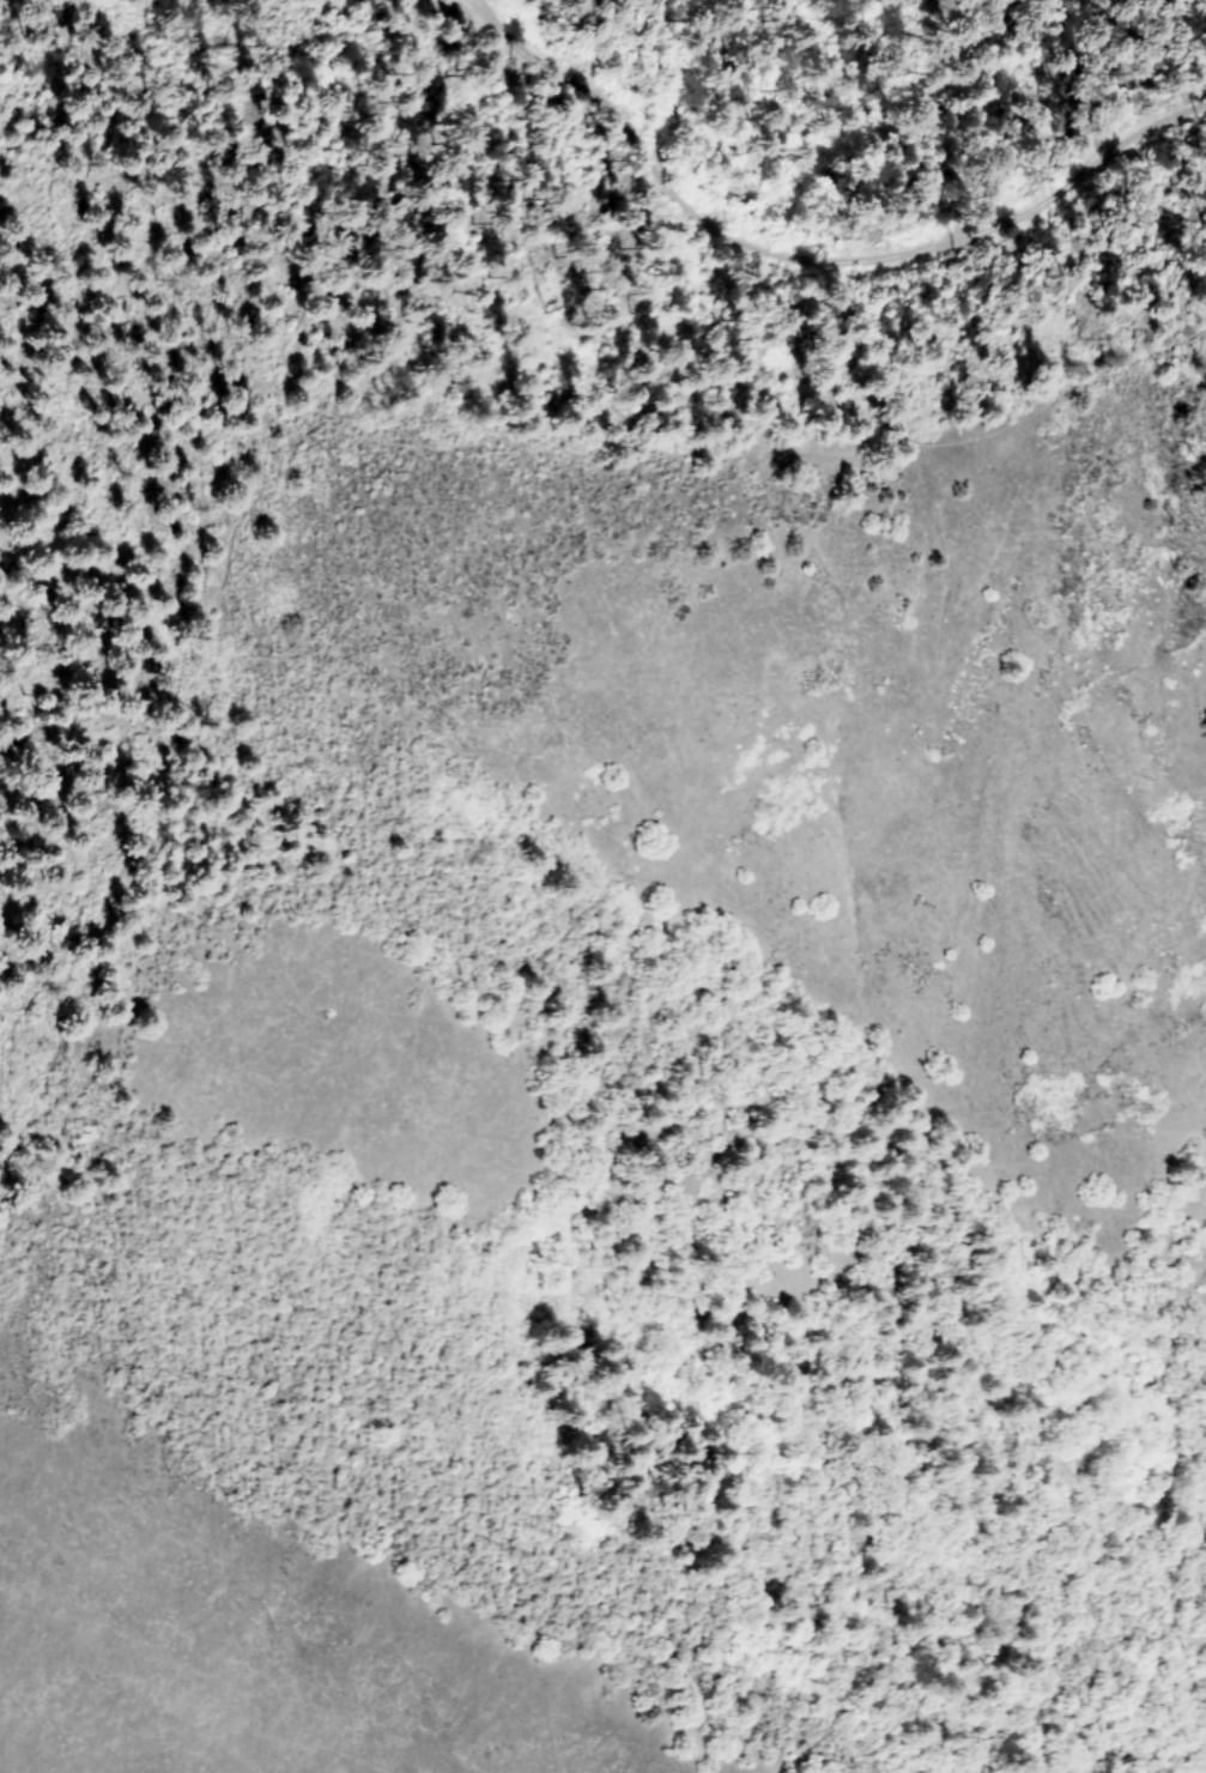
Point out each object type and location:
road: (822, 204)

